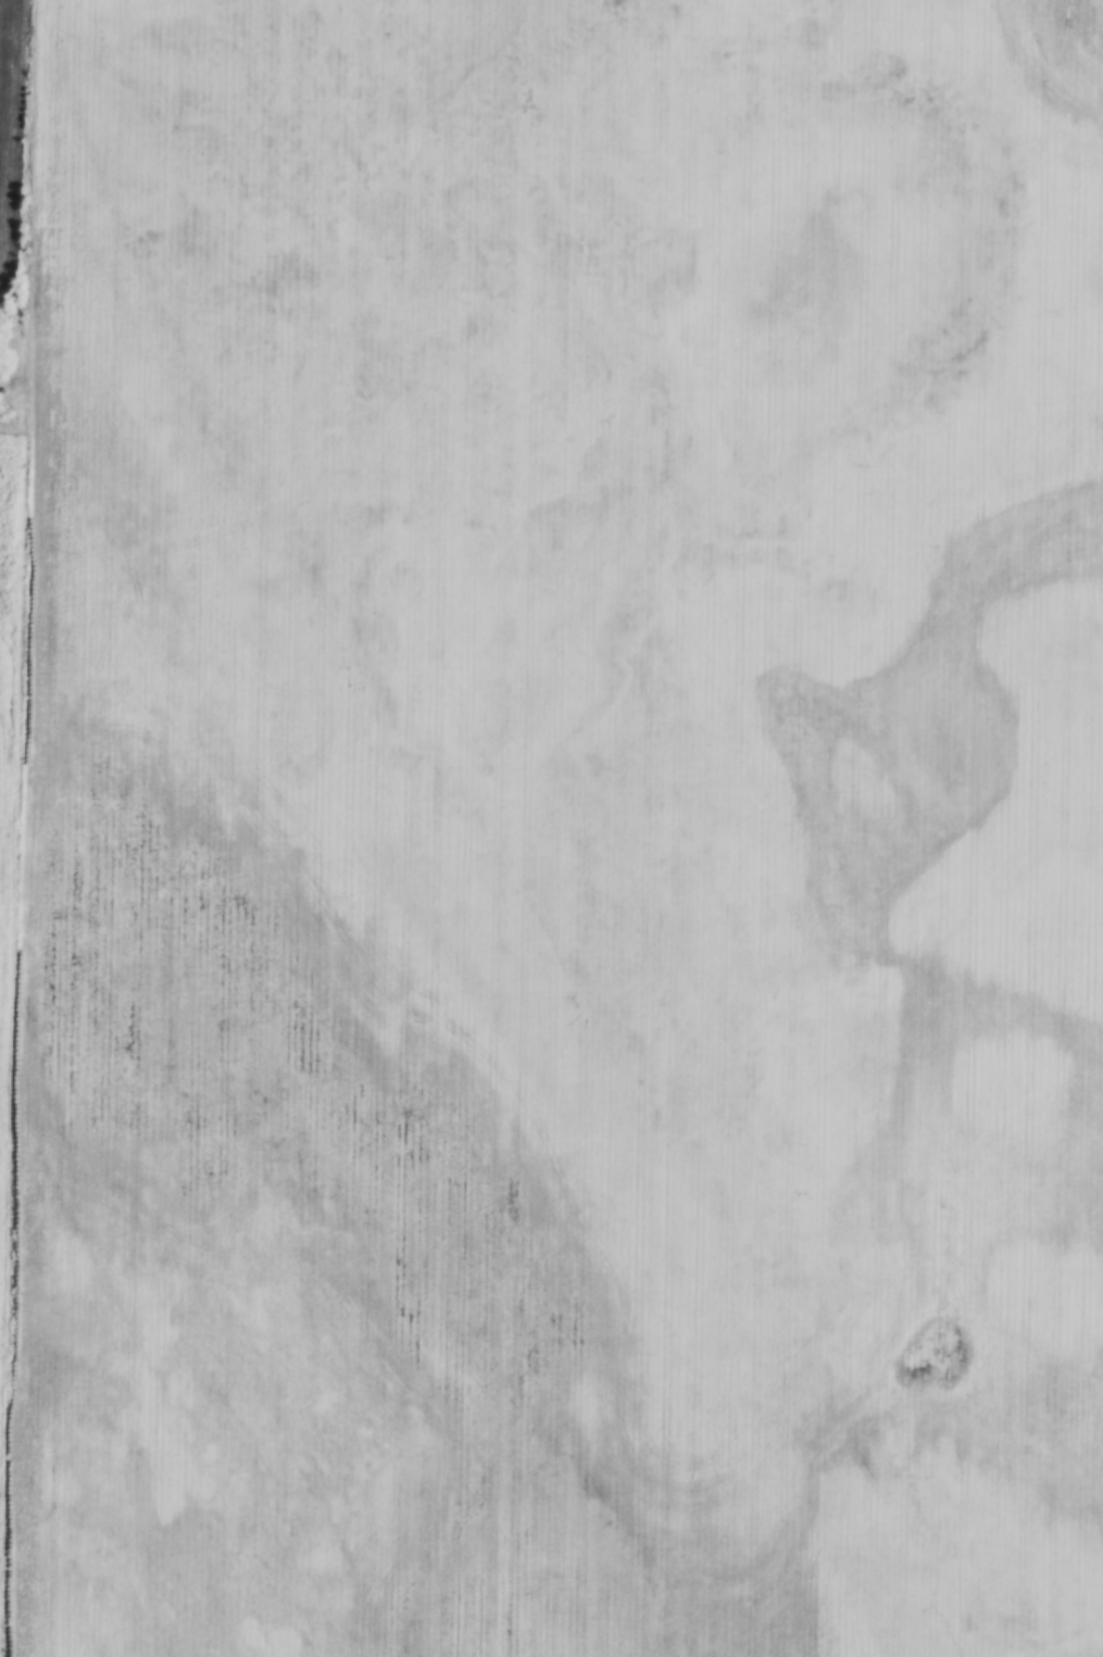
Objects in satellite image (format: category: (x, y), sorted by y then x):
crop: (12, 134)

